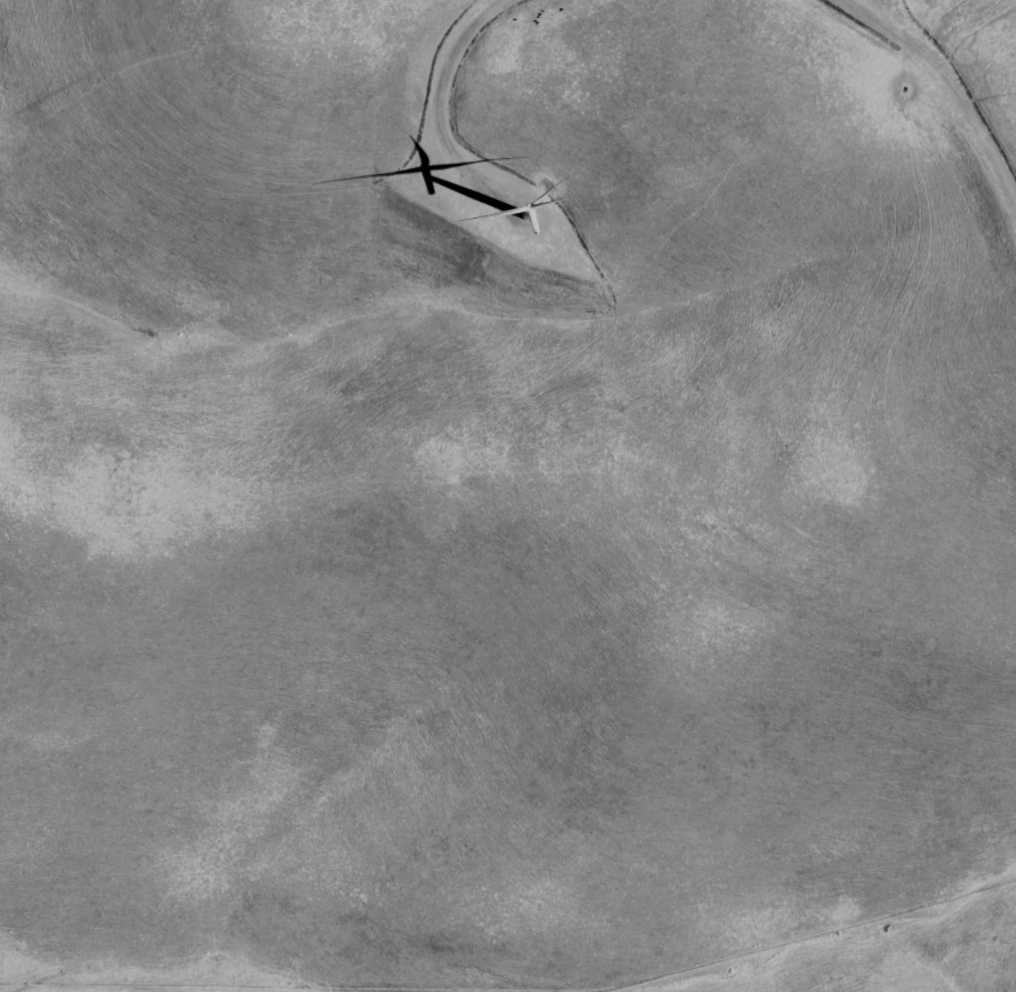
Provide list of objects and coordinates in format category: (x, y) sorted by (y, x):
road: (937, 92)
road: (432, 104)
wind turbine: (533, 210)

